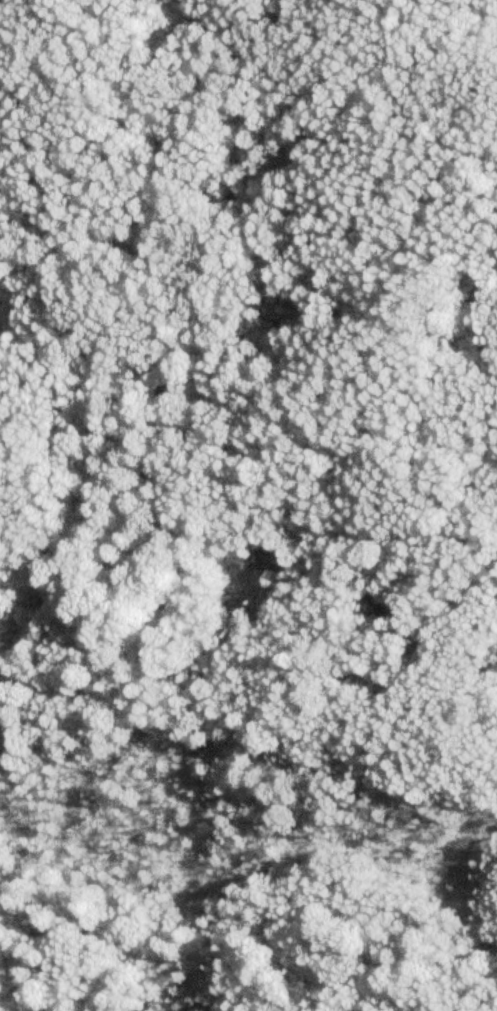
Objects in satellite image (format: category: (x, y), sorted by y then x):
road: (271, 17)

